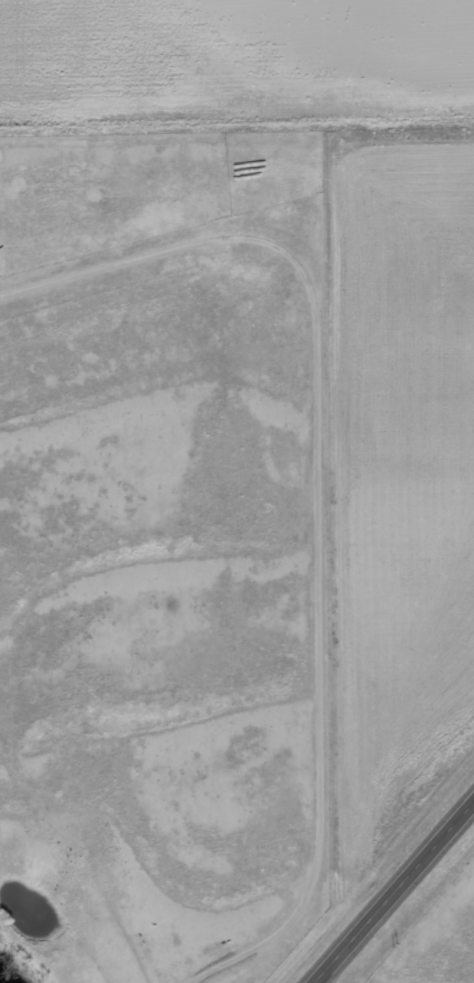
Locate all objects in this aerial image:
road: (393, 893)
road: (57, 908)

